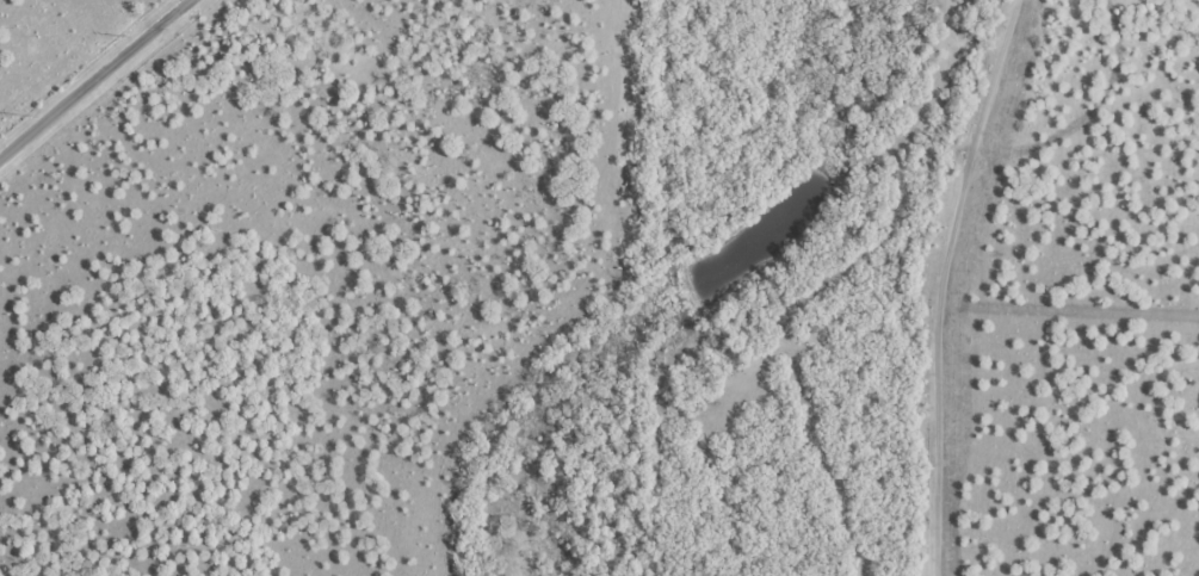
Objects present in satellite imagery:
road: (93, 78)

